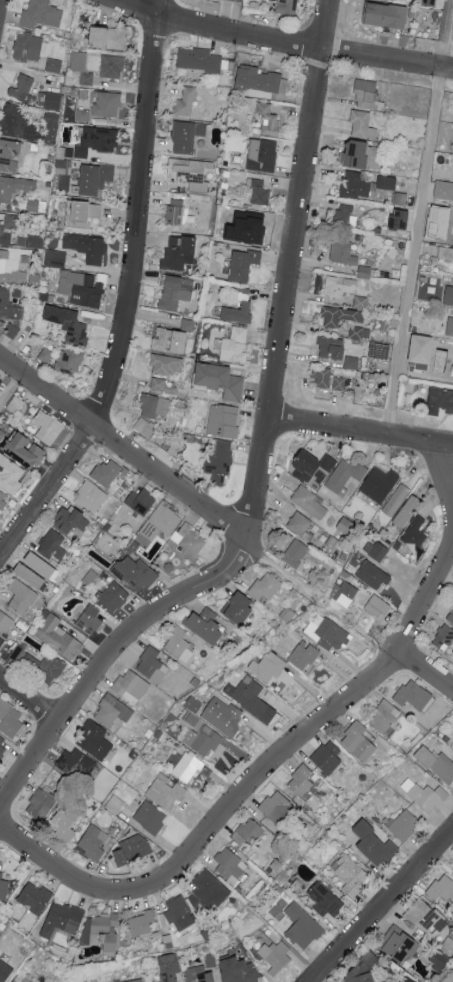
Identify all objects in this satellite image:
building: (393, 0)
building: (431, 3)
building: (287, 7)
building: (42, 14)
building: (388, 16)
building: (110, 37)
road: (279, 41)
building: (29, 47)
building: (199, 59)
building: (79, 61)
building: (113, 66)
building: (87, 78)
building: (261, 79)
building: (21, 87)
building: (366, 94)
building: (50, 99)
building: (186, 102)
building: (107, 104)
building: (83, 115)
building: (269, 119)
building: (18, 123)
building: (363, 124)
building: (189, 136)
building: (12, 153)
building: (358, 153)
building: (263, 154)
building: (192, 173)
building: (97, 178)
building: (387, 182)
building: (355, 185)
building: (15, 186)
building: (444, 189)
building: (260, 192)
building: (83, 212)
building: (176, 212)
road: (138, 216)
building: (345, 216)
road: (417, 217)
building: (401, 219)
building: (7, 228)
building: (254, 228)
building: (31, 241)
building: (88, 247)
building: (179, 252)
building: (343, 252)
building: (55, 258)
building: (243, 264)
building: (10, 271)
building: (340, 286)
building: (81, 288)
building: (176, 292)
building: (449, 295)
building: (364, 302)
building: (8, 305)
building: (238, 312)
building: (339, 315)
building: (70, 323)
building: (188, 325)
building: (450, 327)
building: (11, 330)
building: (360, 332)
building: (172, 339)
building: (234, 345)
building: (424, 348)
building: (380, 349)
building: (336, 350)
building: (46, 354)
building: (70, 361)
building: (168, 364)
building: (323, 377)
building: (222, 379)
building: (1, 380)
building: (159, 384)
building: (342, 384)
road: (12, 394)
building: (440, 398)
building: (156, 406)
building: (224, 420)
building: (49, 426)
building: (145, 427)
road: (359, 431)
building: (2, 434)
building: (25, 449)
road: (122, 449)
road: (261, 452)
building: (221, 462)
building: (312, 465)
building: (107, 472)
building: (11, 473)
building: (345, 475)
road: (444, 475)
building: (380, 484)
road: (46, 491)
building: (91, 497)
building: (3, 500)
building: (396, 500)
building: (142, 501)
building: (310, 502)
building: (407, 511)
building: (71, 520)
building: (162, 521)
building: (301, 525)
building: (347, 526)
building: (416, 538)
building: (190, 539)
building: (53, 545)
building: (377, 550)
building: (296, 553)
building: (42, 564)
building: (136, 573)
building: (32, 575)
building: (374, 575)
building: (265, 588)
building: (345, 594)
building: (114, 595)
building: (22, 596)
road: (320, 596)
building: (241, 607)
building: (450, 616)
building: (90, 620)
building: (208, 625)
building: (5, 626)
building: (327, 633)
building: (59, 636)
building: (180, 643)
building: (304, 655)
building: (153, 665)
building: (267, 668)
road: (424, 674)
building: (132, 686)
building: (415, 695)
building: (252, 698)
road: (28, 701)
building: (194, 704)
building: (113, 711)
building: (223, 716)
building: (383, 717)
building: (11, 718)
building: (96, 740)
building: (203, 740)
building: (360, 742)
building: (2, 747)
building: (328, 758)
building: (437, 763)
building: (76, 764)
building: (186, 767)
building: (301, 781)
road: (250, 786)
building: (165, 792)
building: (425, 794)
building: (41, 804)
building: (278, 807)
building: (150, 817)
building: (64, 823)
building: (405, 825)
building: (248, 832)
building: (94, 842)
building: (375, 843)
building: (134, 849)
building: (231, 866)
building: (351, 874)
building: (442, 888)
building: (4, 889)
building: (208, 891)
building: (36, 897)
road: (381, 906)
building: (179, 913)
building: (423, 915)
building: (63, 919)
building: (142, 923)
building: (302, 926)
building: (440, 931)
building: (103, 932)
building: (400, 944)
building: (443, 955)
building: (276, 956)
building: (170, 967)
building: (366, 968)
building: (240, 970)
building: (5, 971)
building: (202, 971)
building: (22, 977)
building: (133, 981)
building: (409, 981)

